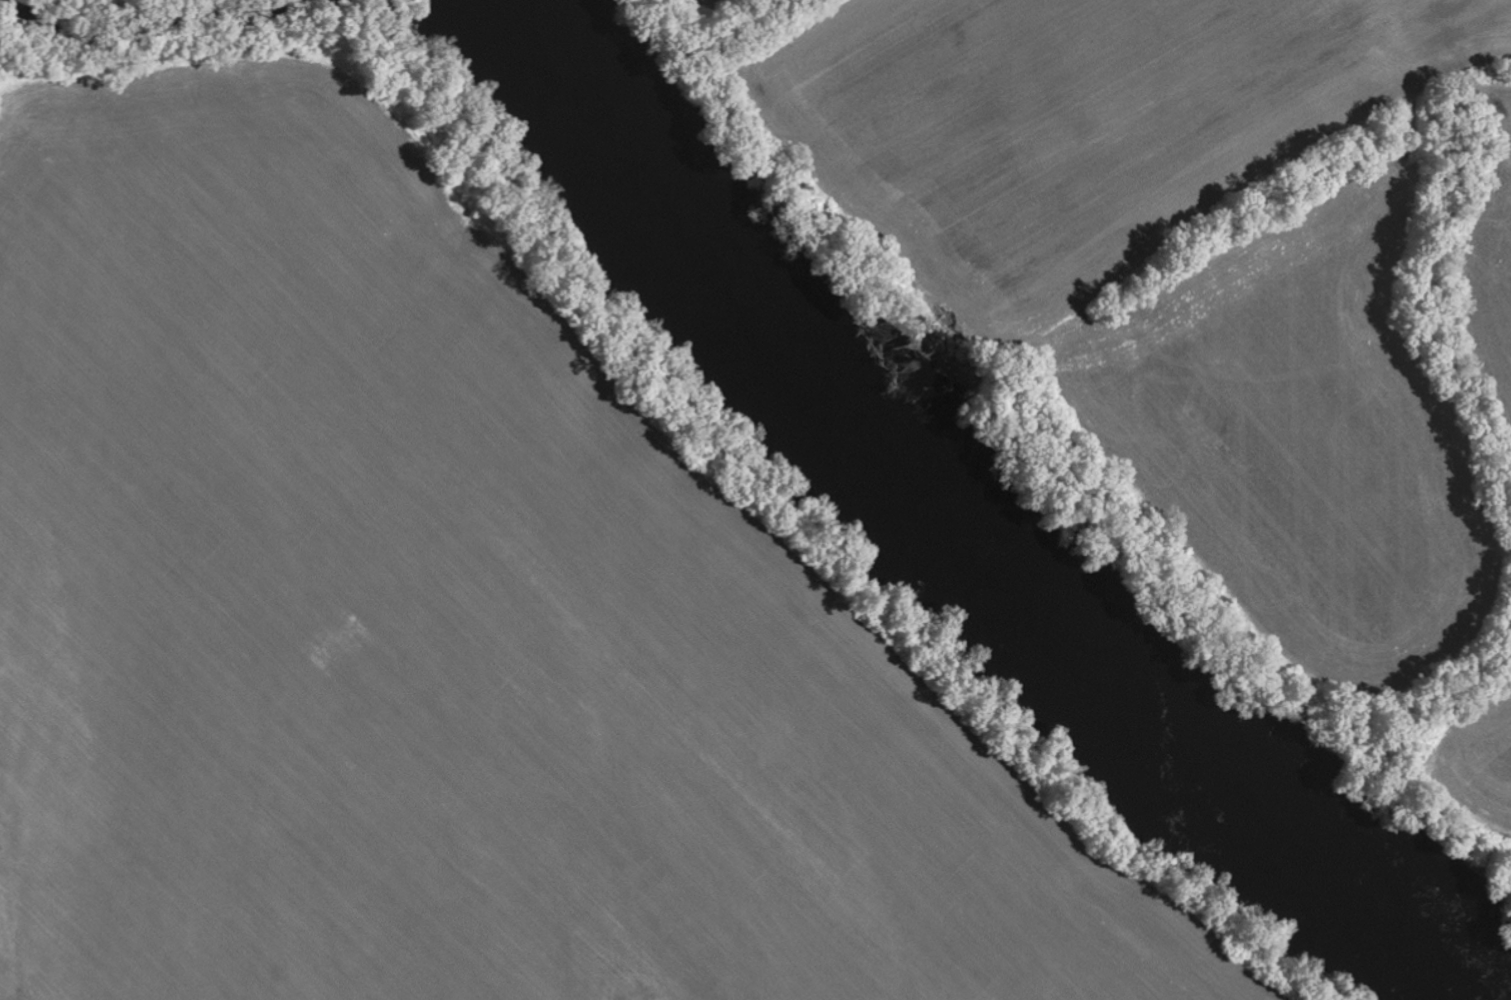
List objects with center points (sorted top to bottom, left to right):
river: (946, 533)

